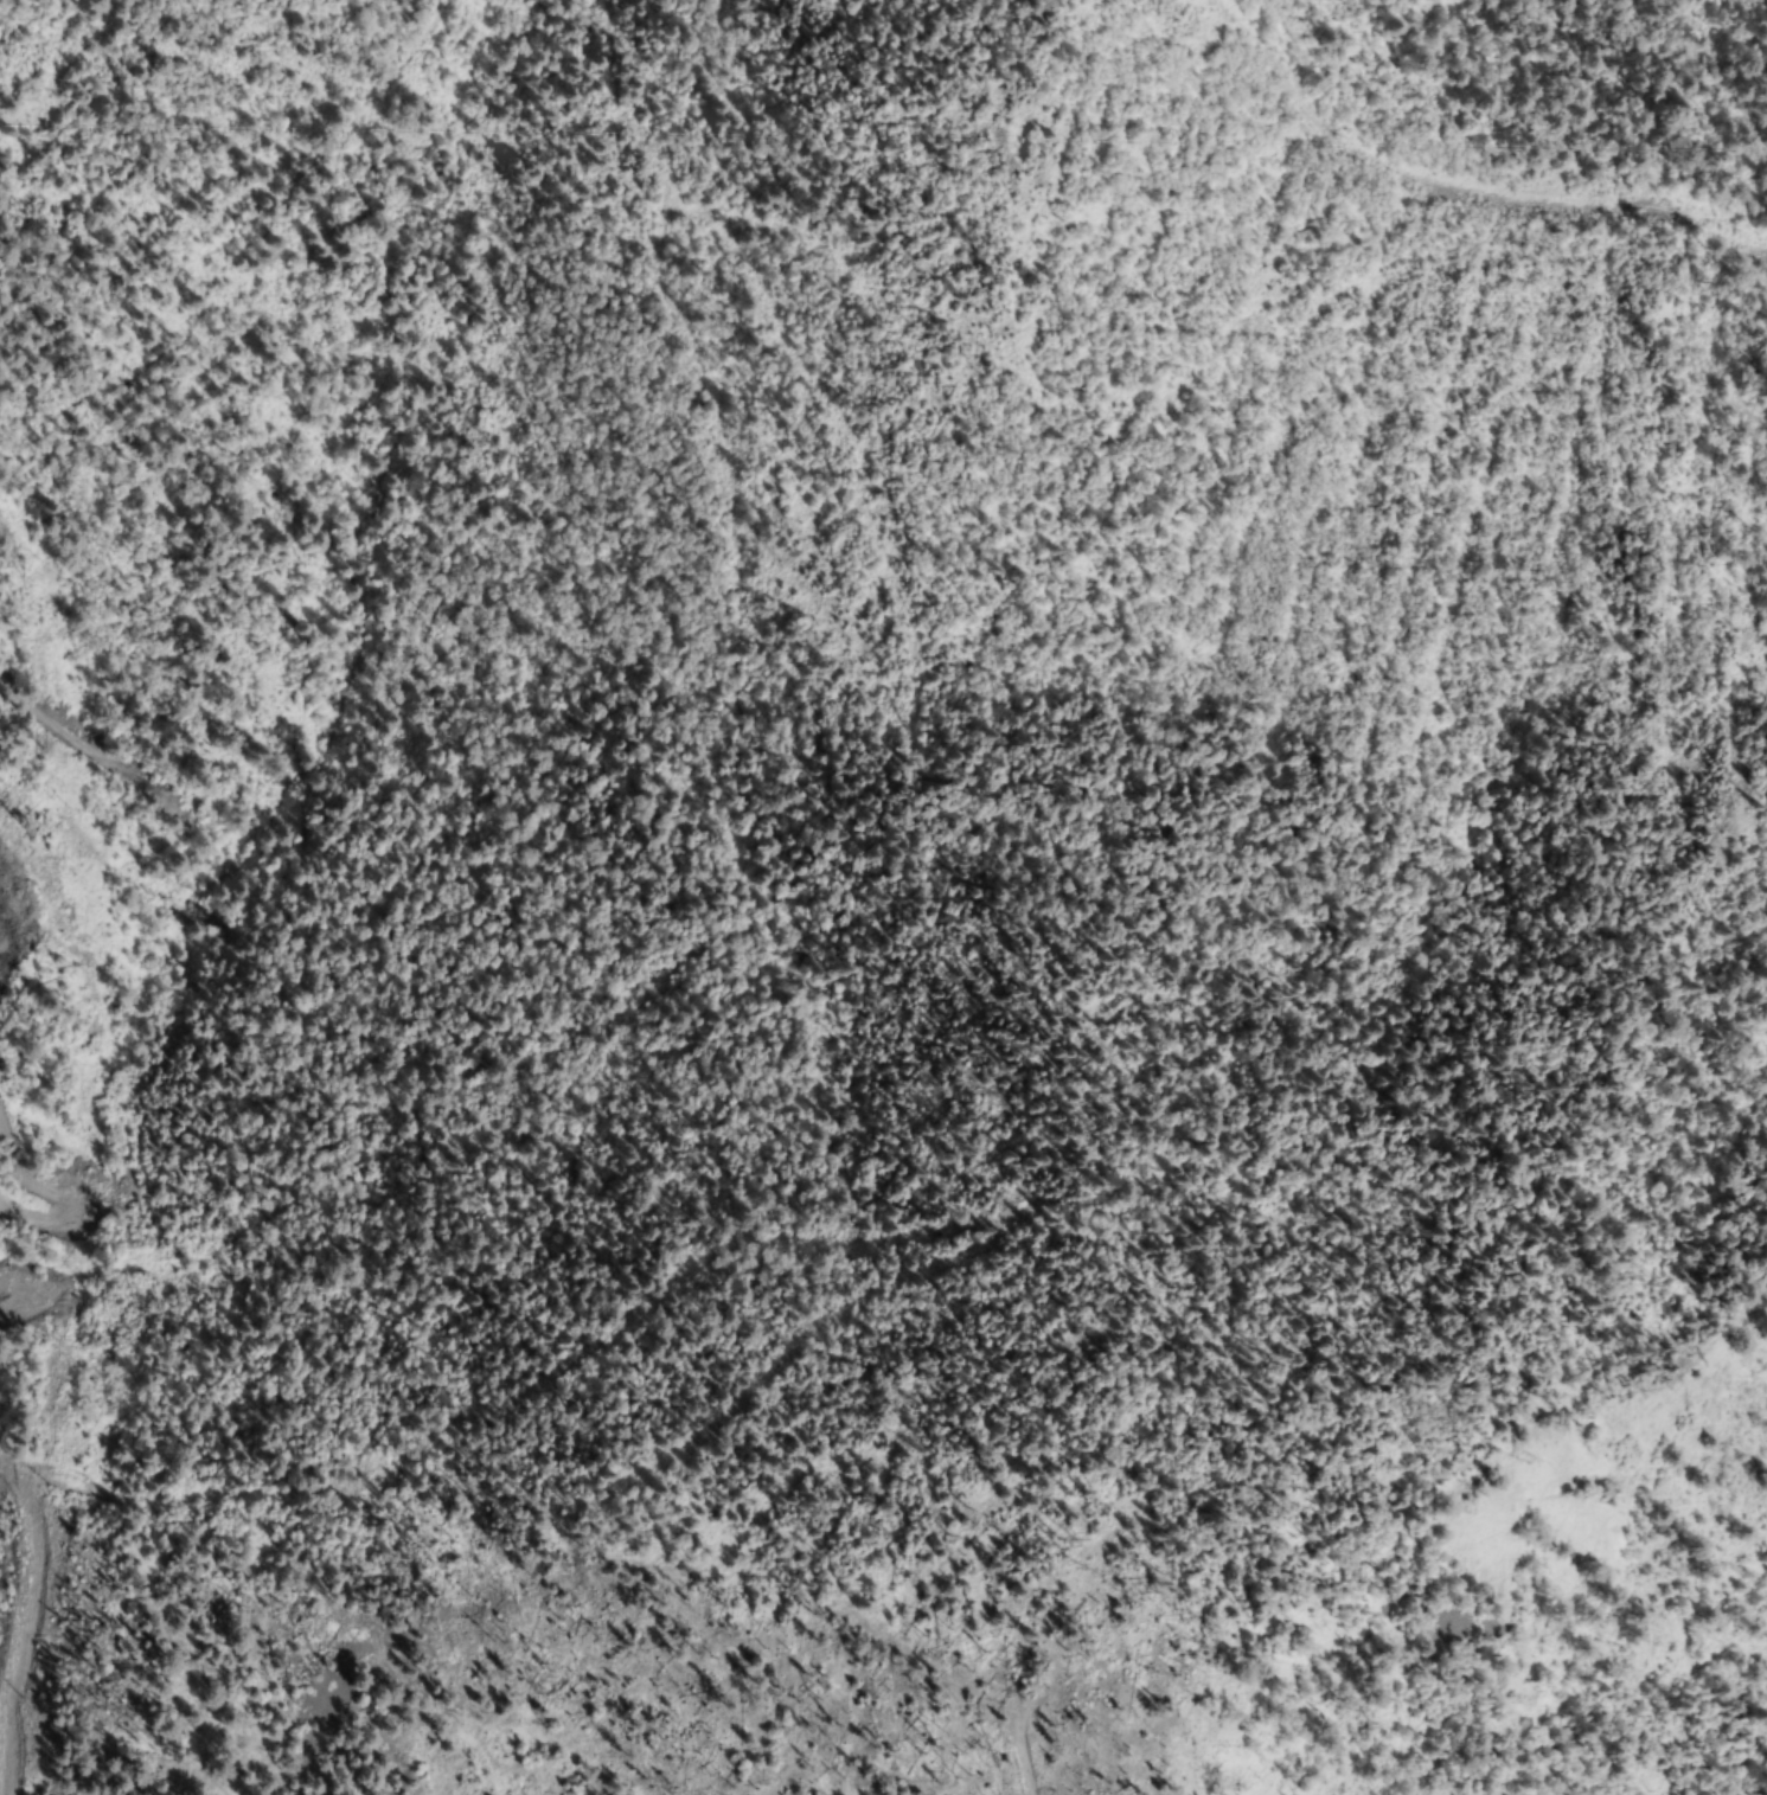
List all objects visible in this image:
quarry: (38, 1134)

